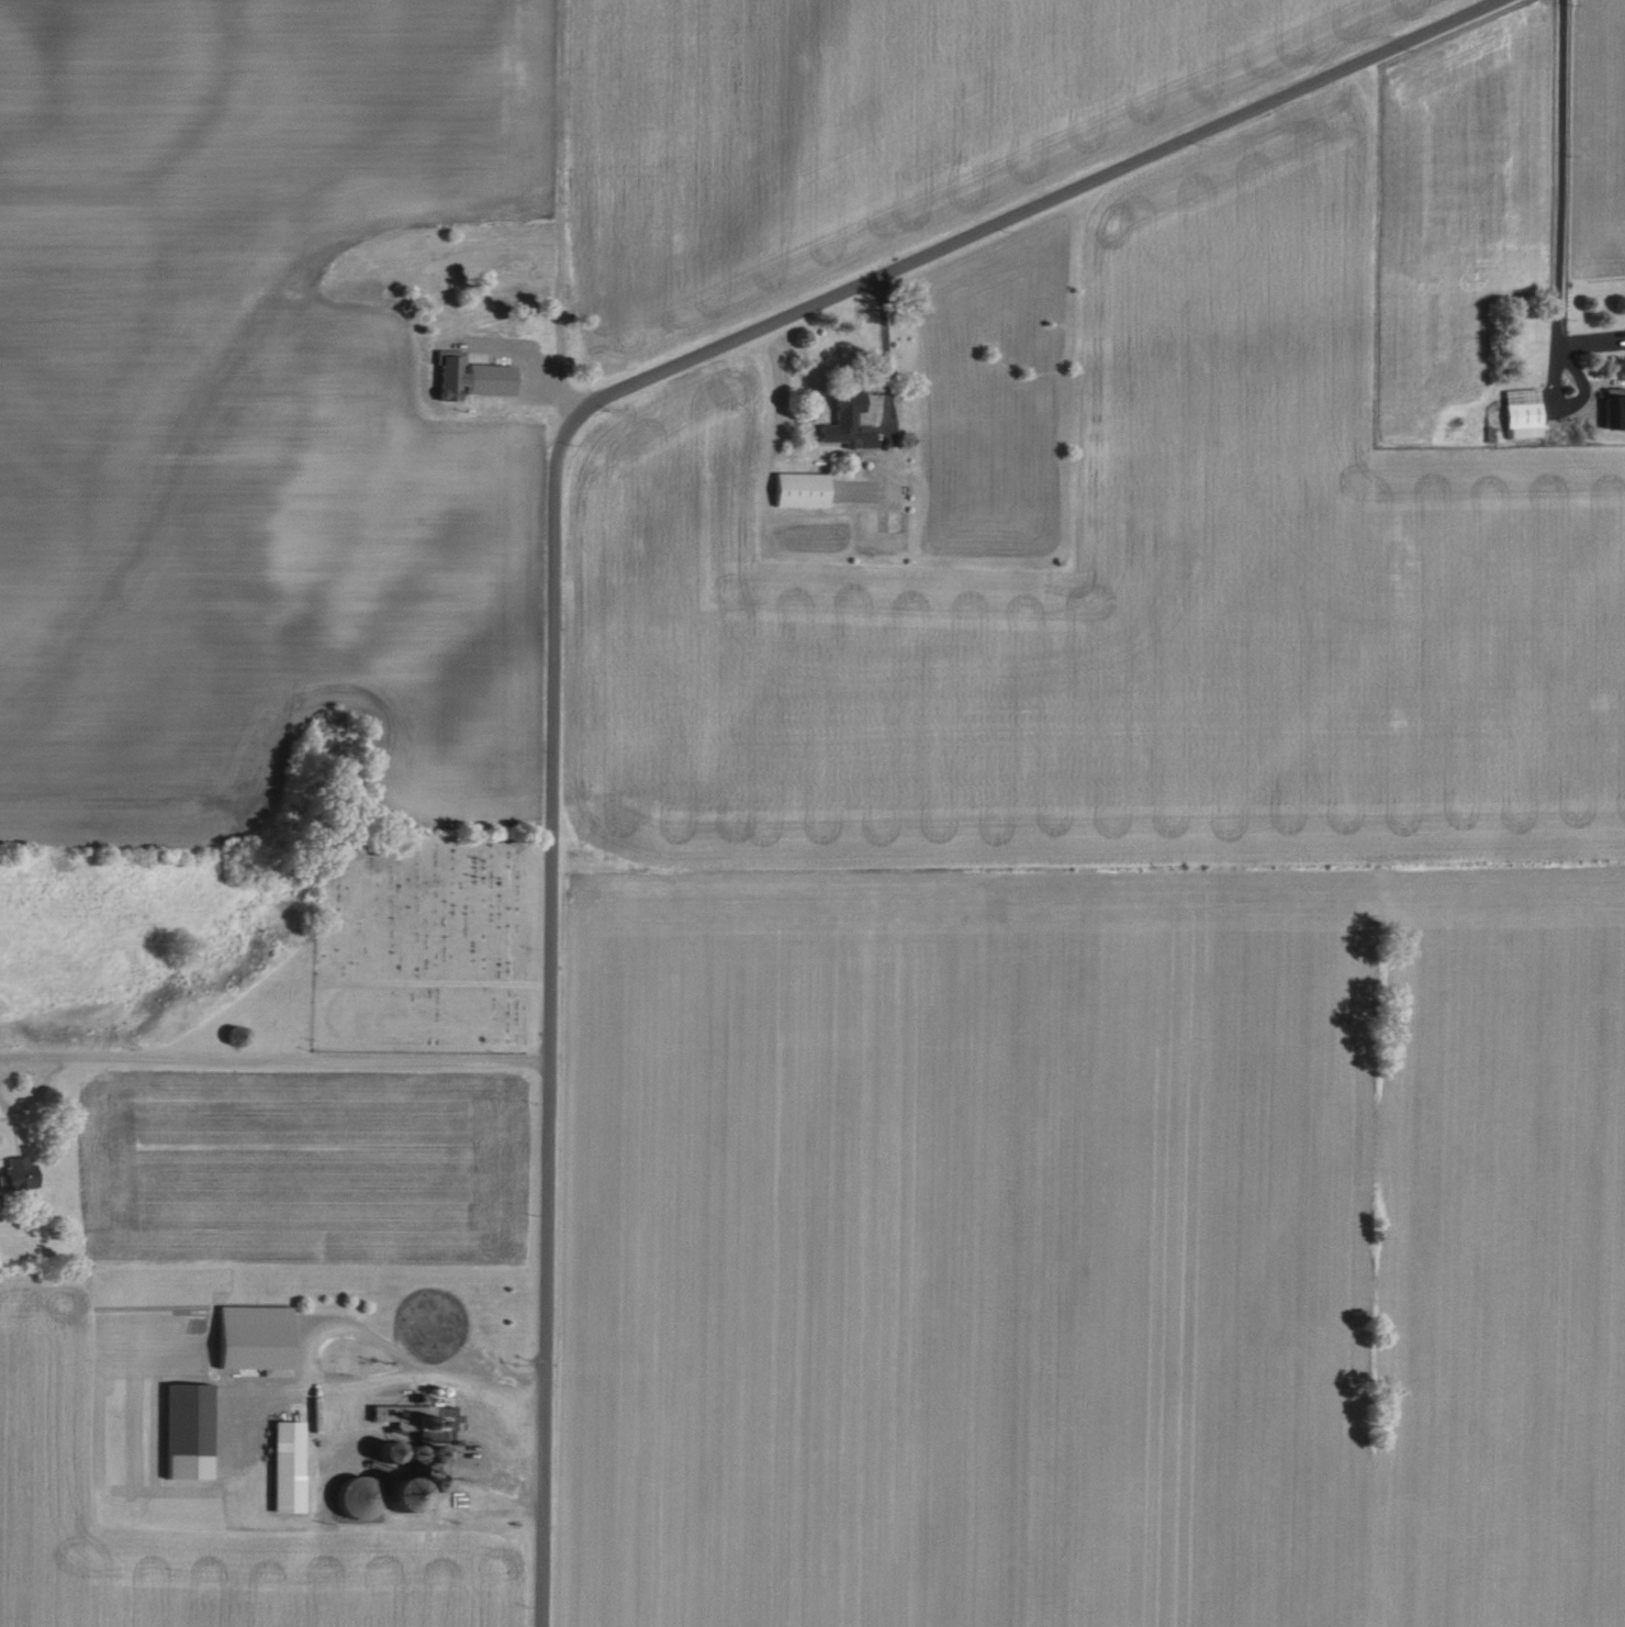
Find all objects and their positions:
road: (1565, 172)
road: (894, 348)
road: (531, 365)
road: (1571, 404)
building: (1612, 411)
building: (1520, 412)
building: (844, 422)
building: (797, 489)
road: (557, 513)
park: (426, 941)
road: (307, 1056)
road: (58, 1063)
building: (14, 1171)
building: (249, 1339)
road: (417, 1378)
building: (415, 1417)
building: (417, 1456)
building: (283, 1468)
building: (377, 1496)

